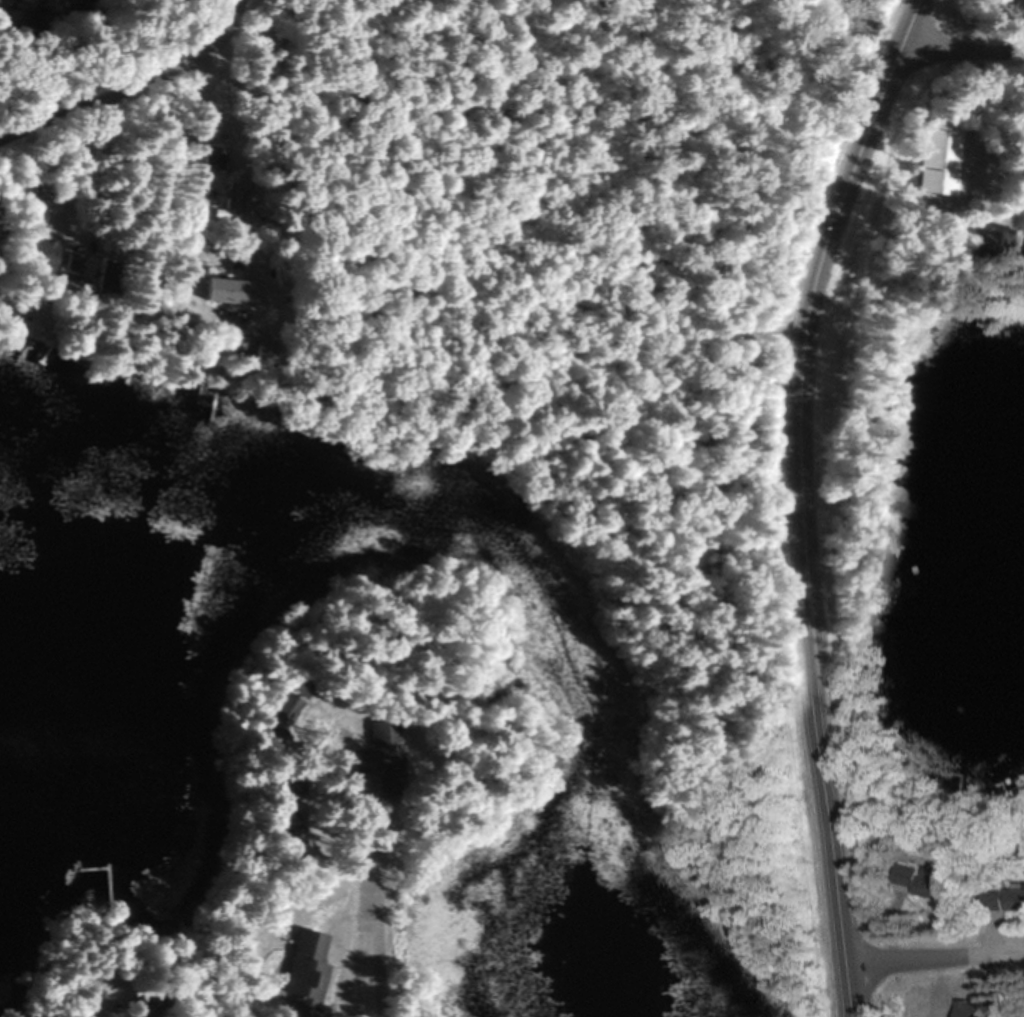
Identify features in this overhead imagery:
road: (960, 52)
road: (134, 91)
road: (967, 122)
building: (935, 158)
road: (151, 165)
road: (191, 169)
road: (100, 172)
building: (232, 197)
building: (984, 244)
building: (66, 267)
building: (102, 278)
building: (217, 292)
building: (243, 348)
road: (793, 499)
building: (285, 699)
building: (377, 755)
building: (988, 783)
building: (281, 820)
building: (918, 880)
building: (1017, 900)
road: (372, 939)
road: (934, 963)
building: (298, 971)
building: (145, 1006)

